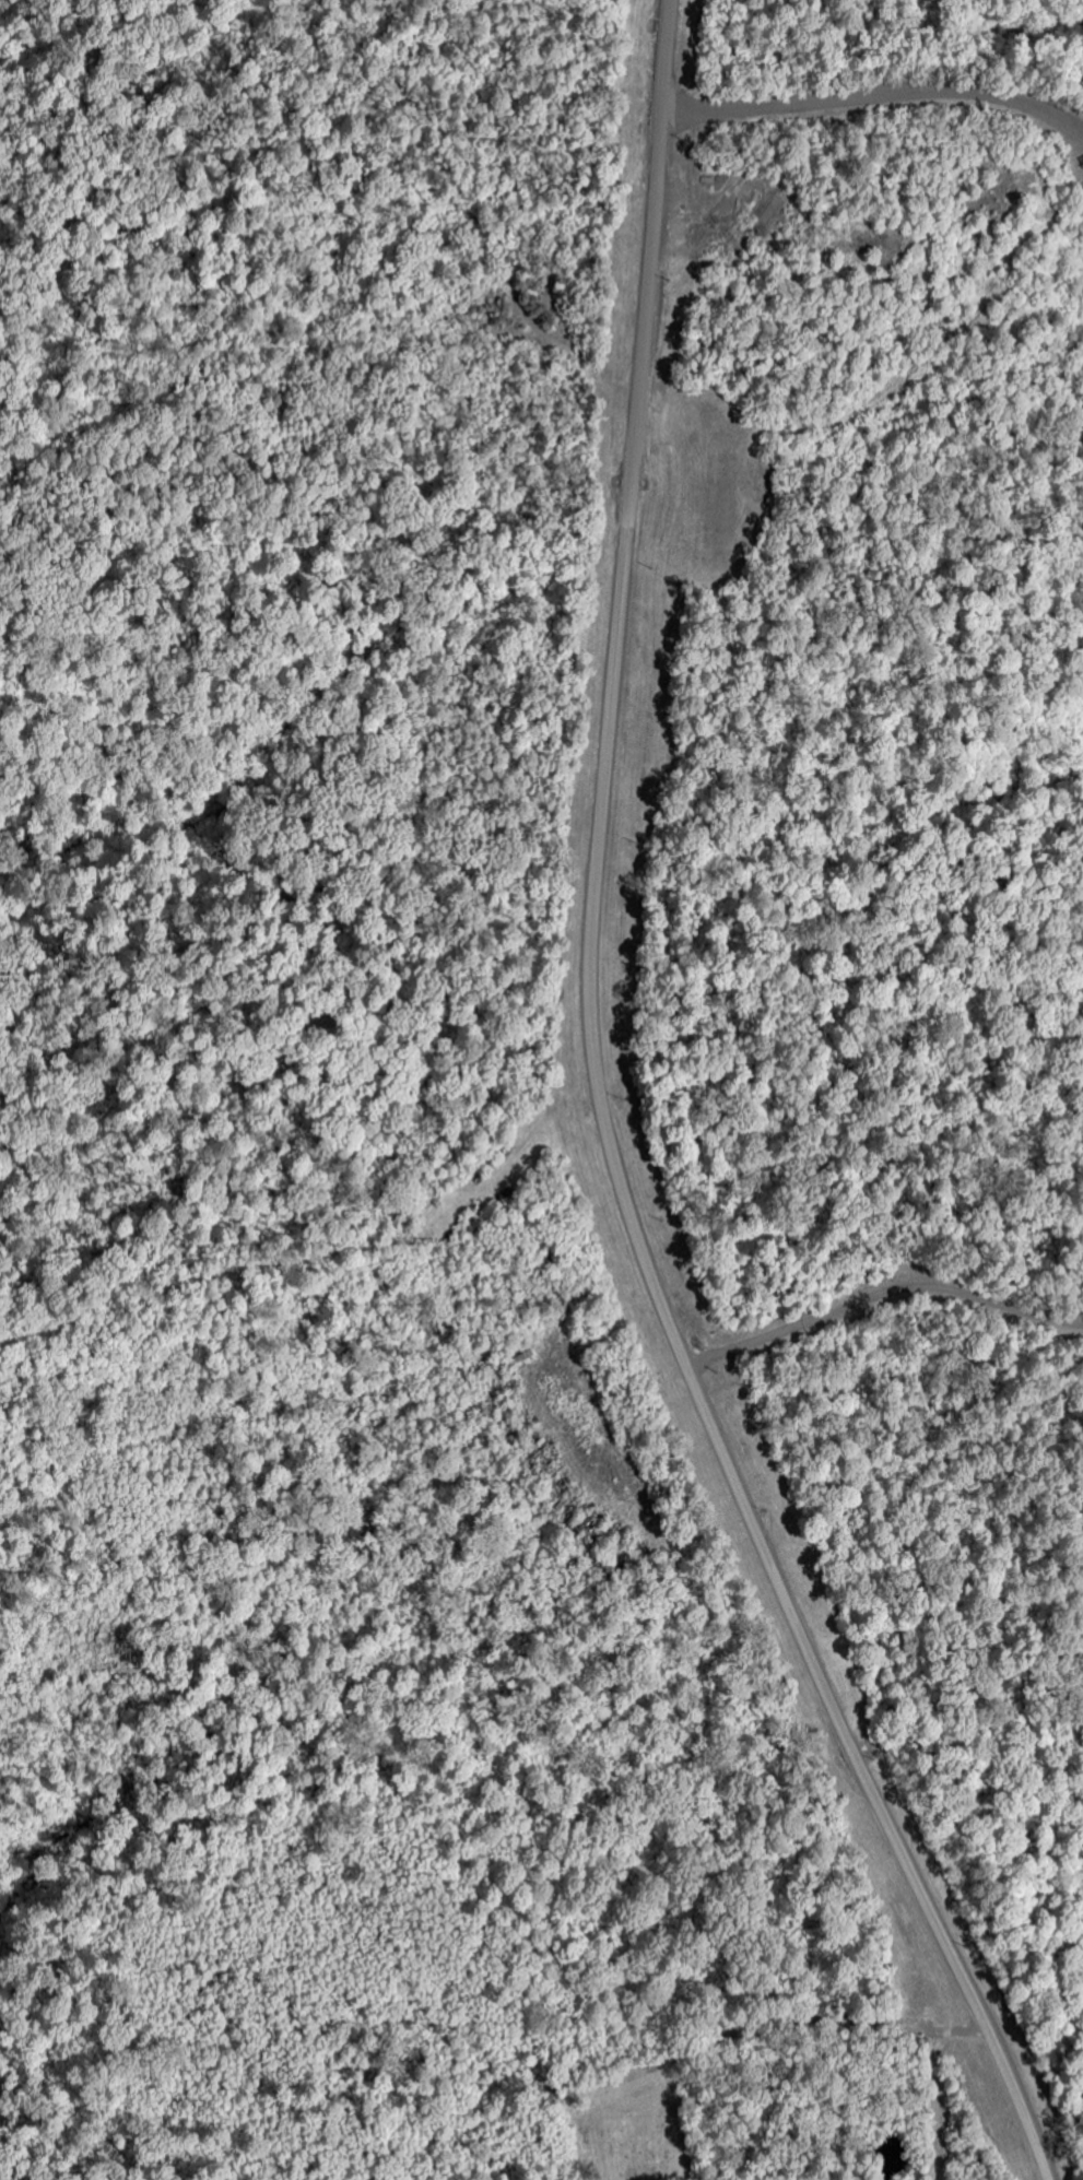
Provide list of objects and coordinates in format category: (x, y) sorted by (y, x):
road: (874, 95)
road: (602, 1133)
road: (882, 1297)
park: (643, 2131)

